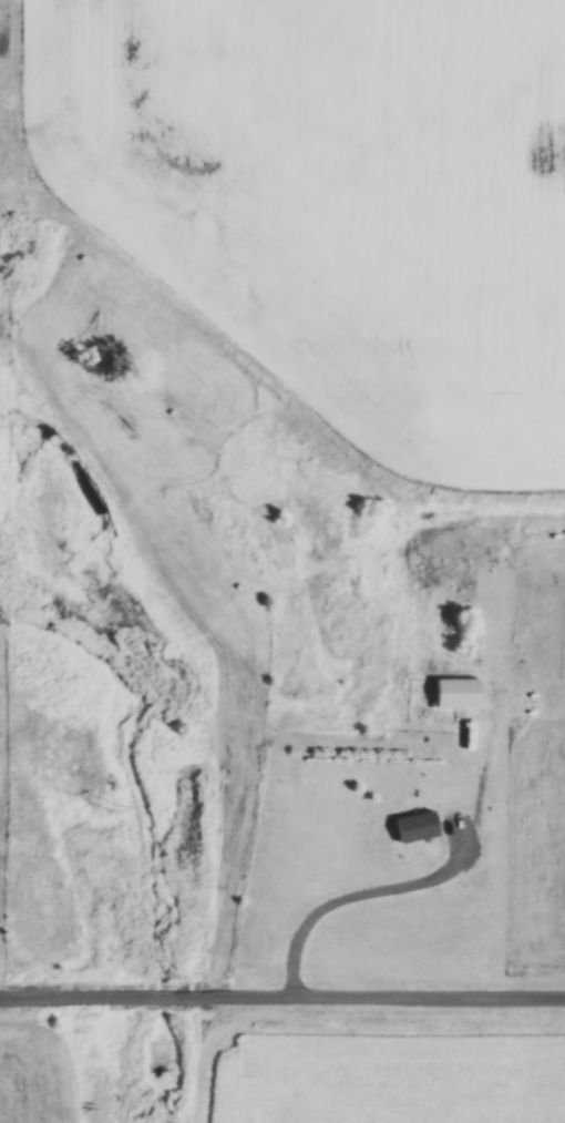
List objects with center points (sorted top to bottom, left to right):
building: (453, 693)
power tower: (113, 807)
building: (412, 827)
road: (325, 897)
road: (6, 993)
road: (282, 1002)

